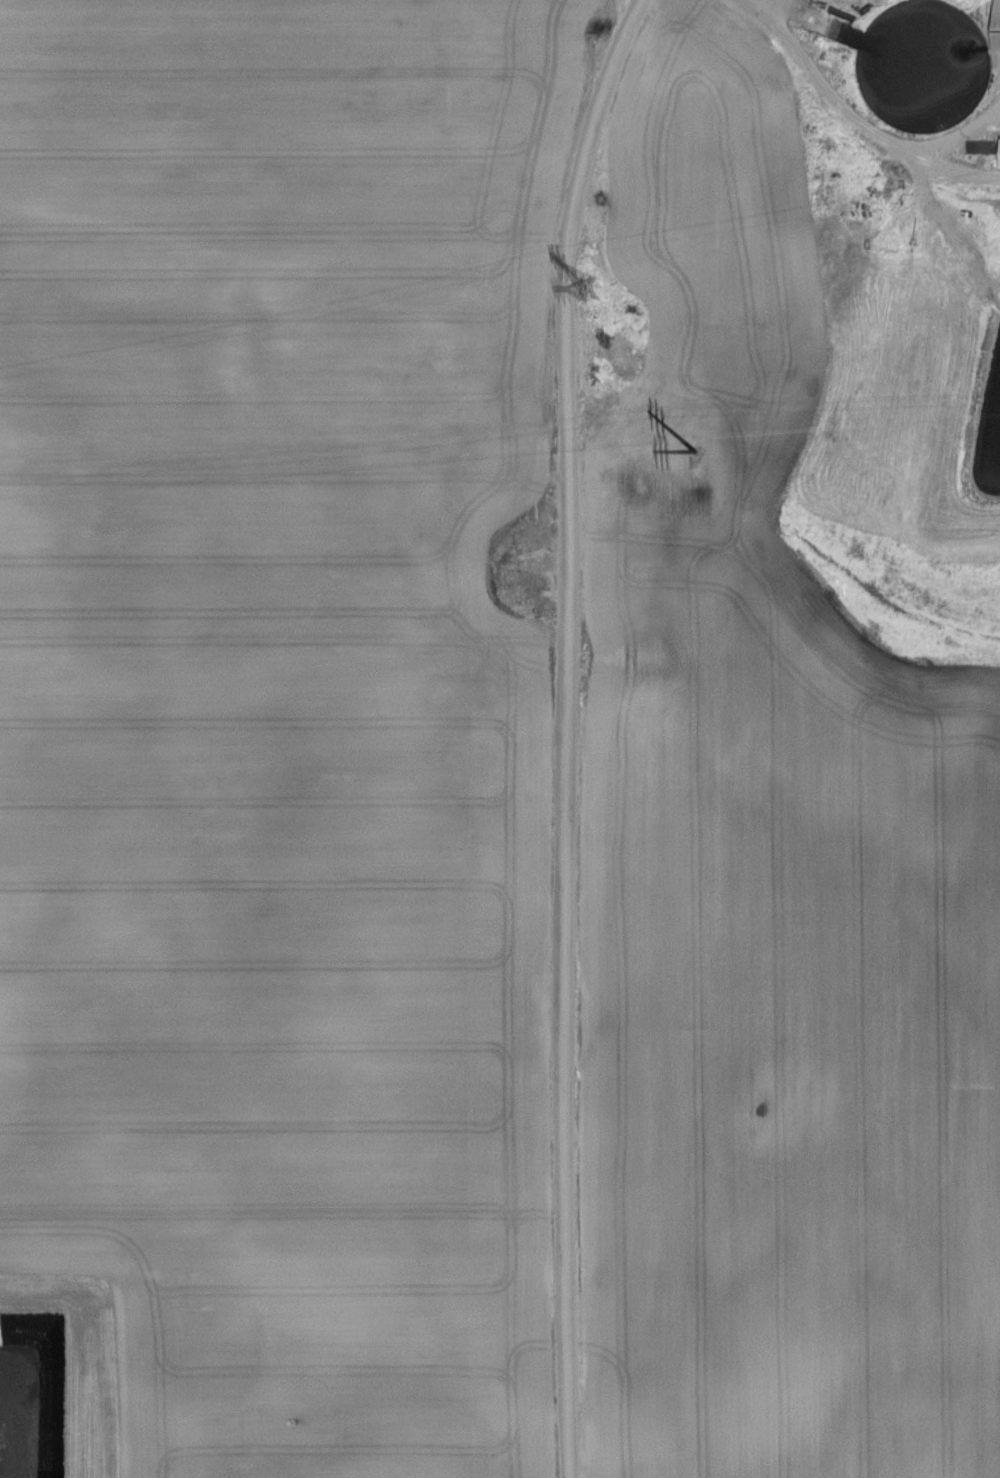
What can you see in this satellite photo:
building: (999, 35)
road: (851, 120)
power tower: (594, 290)
power tower: (690, 444)
road: (561, 733)

